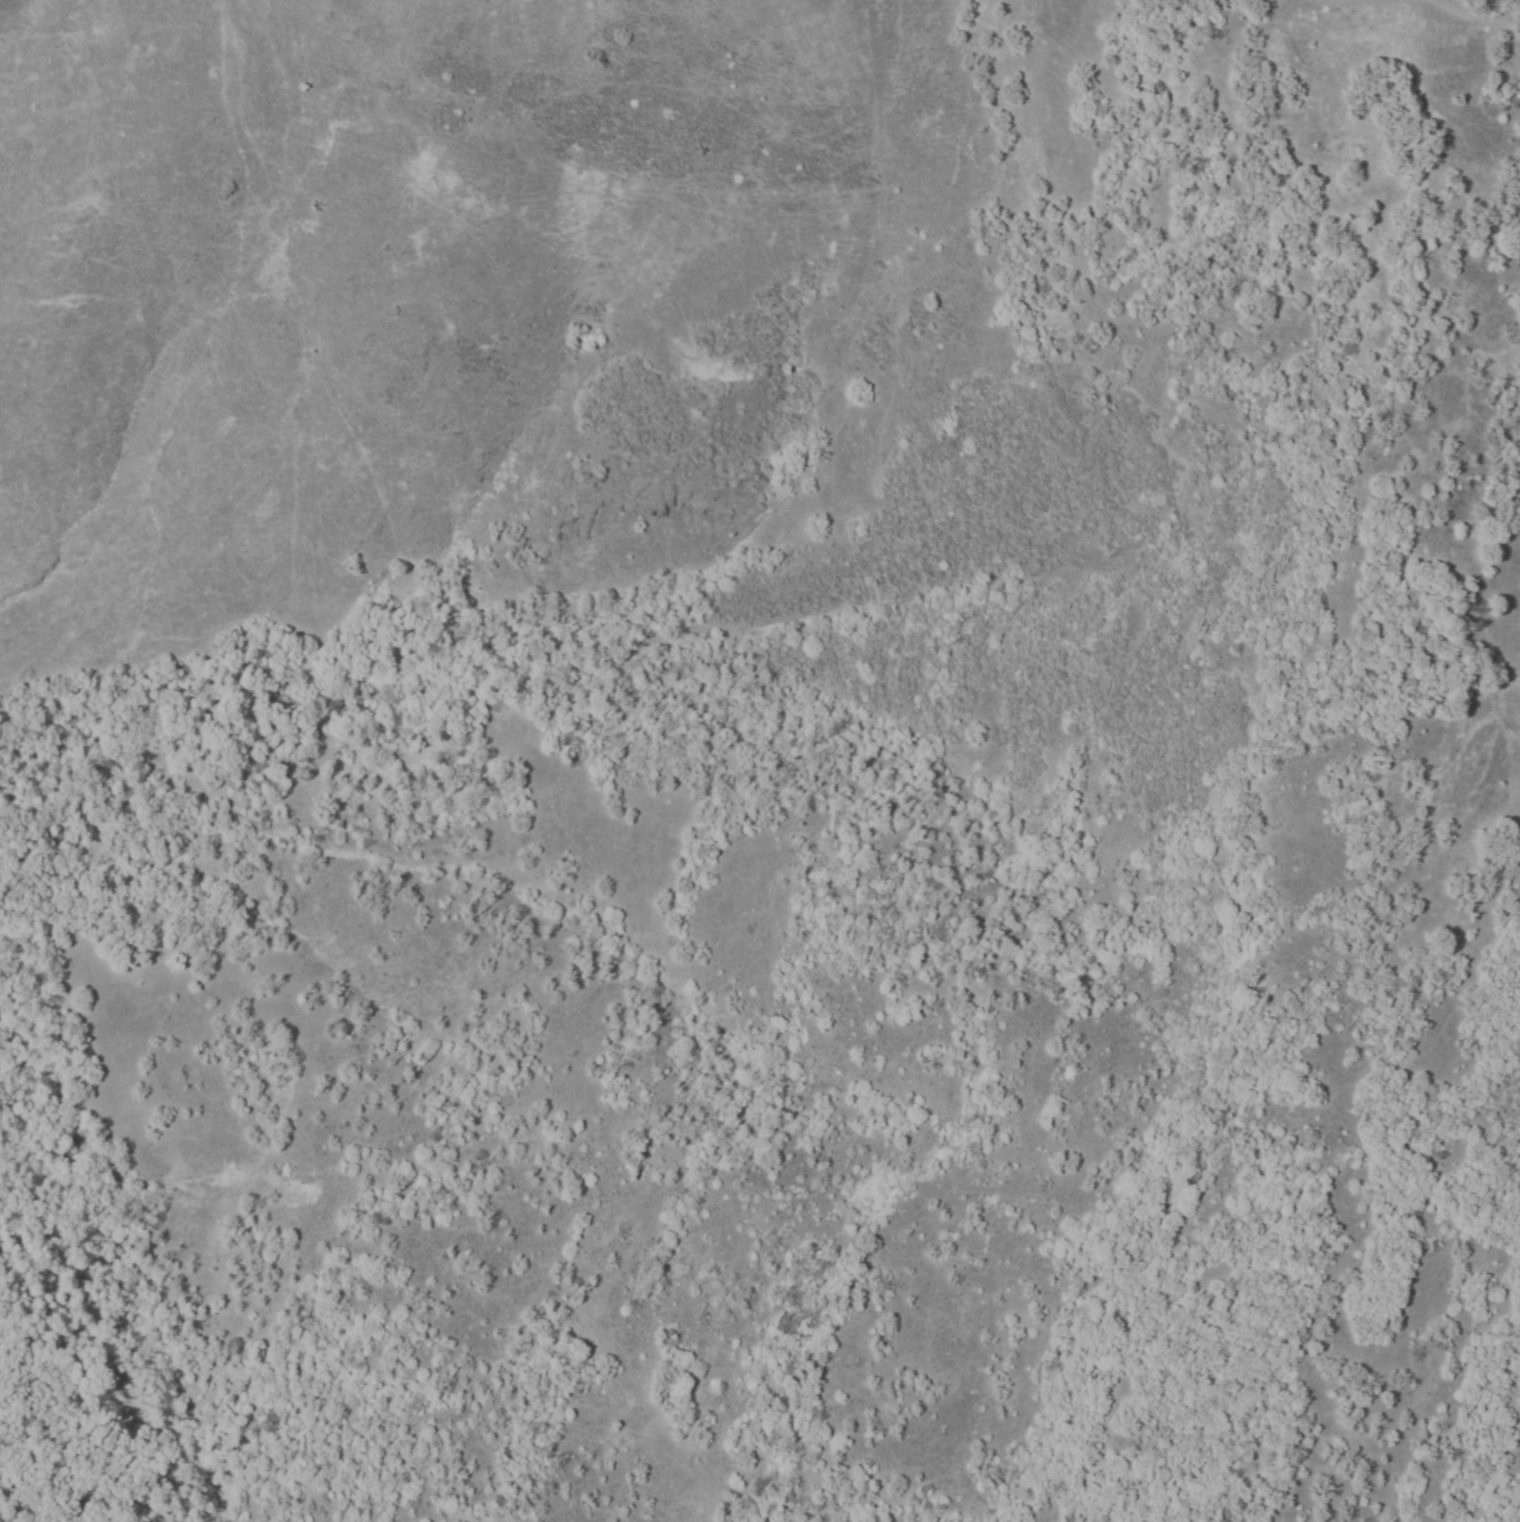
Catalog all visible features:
road: (1356, 5)
road: (1471, 15)

